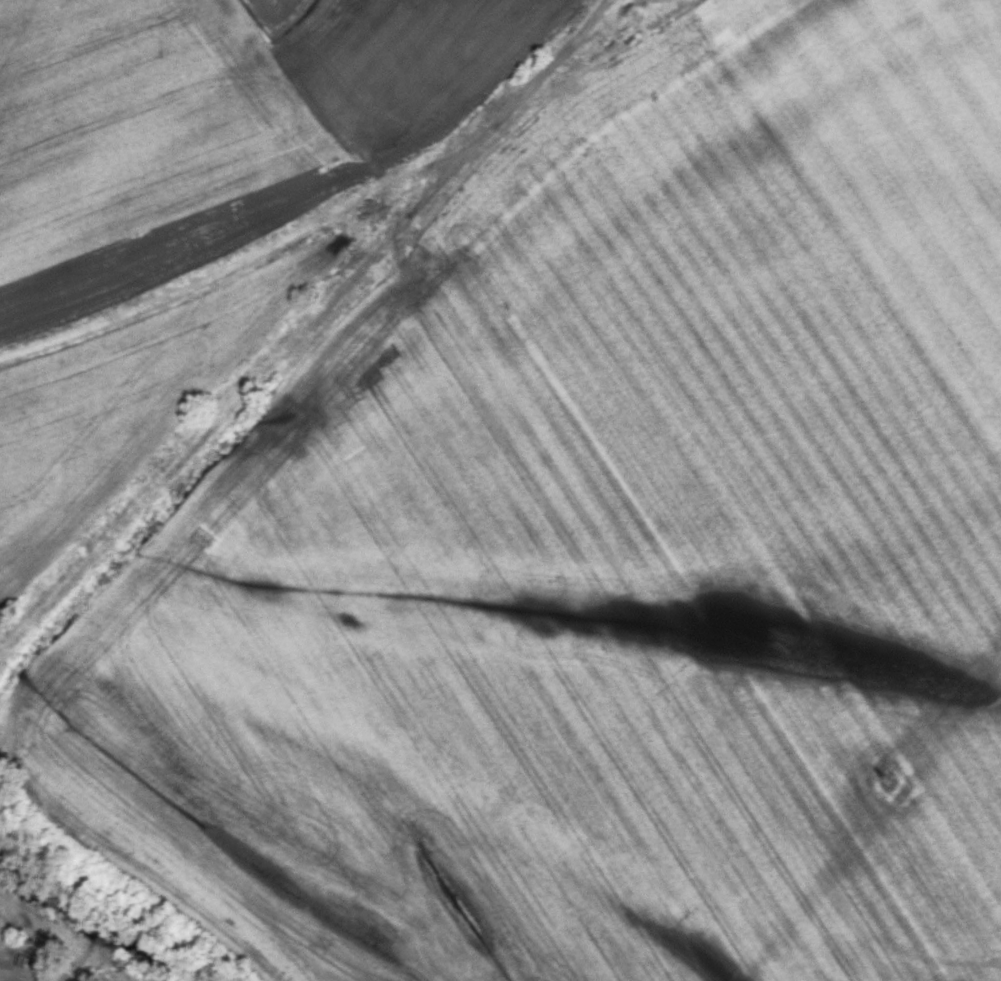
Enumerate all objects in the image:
crop: (216, 122)
crop: (116, 405)
crop: (604, 555)
power tower: (899, 781)
road: (21, 975)

